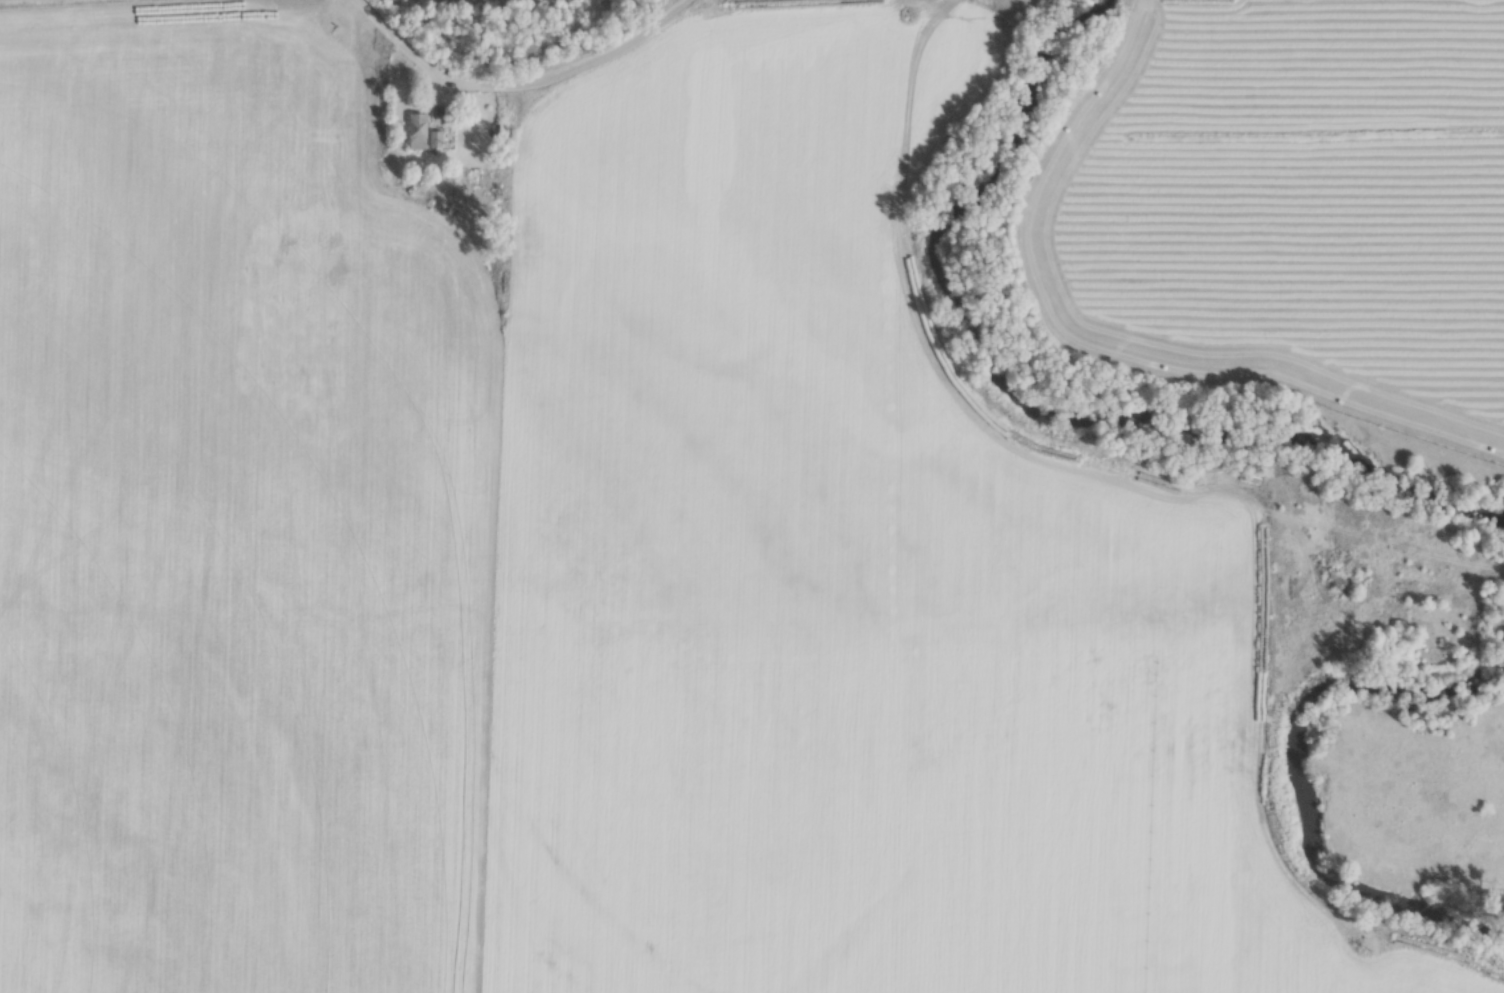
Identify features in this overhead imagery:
road: (521, 81)
building: (416, 133)
building: (434, 141)

